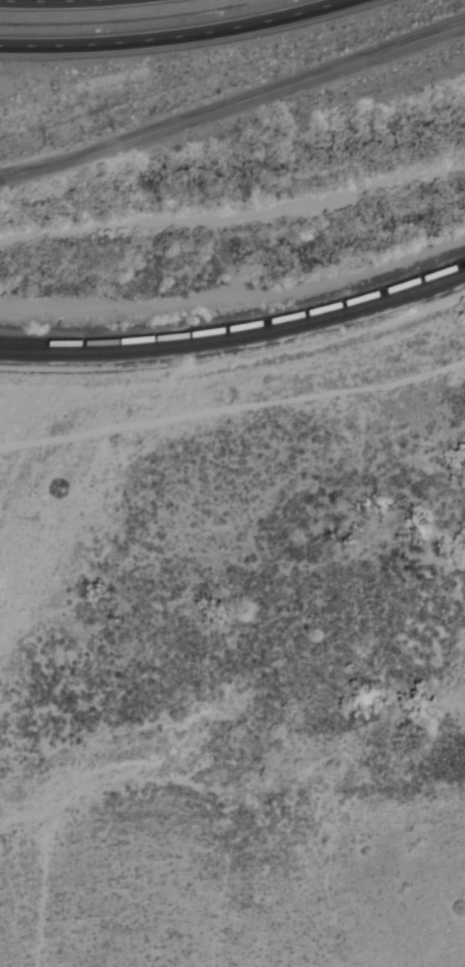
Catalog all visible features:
road: (51, 1)
road: (177, 37)
road: (233, 104)
railway: (236, 329)
railway: (236, 338)

